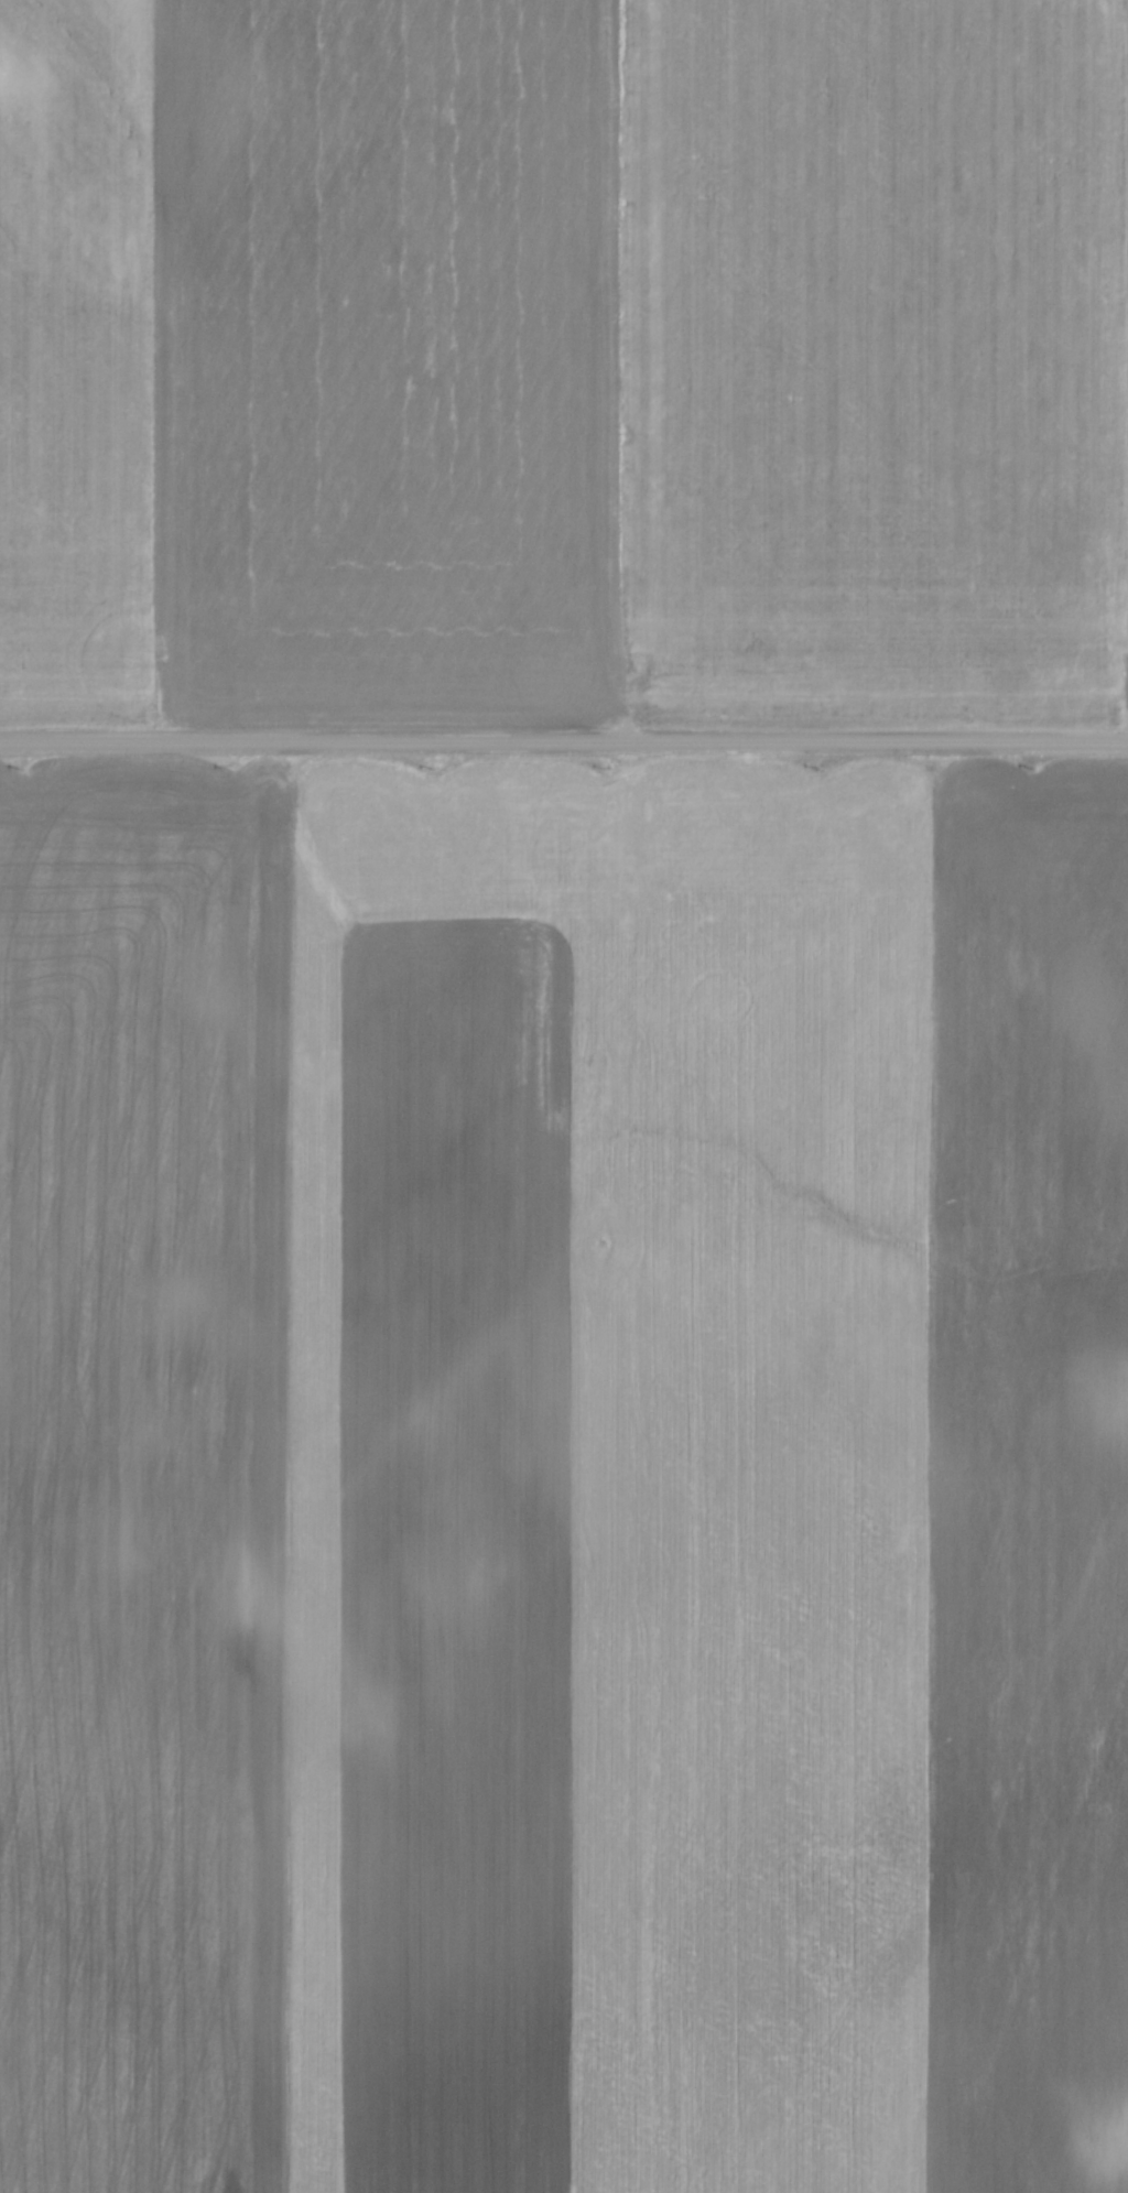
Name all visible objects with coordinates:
crop: (564, 361)
road: (563, 746)
crop: (564, 1480)

